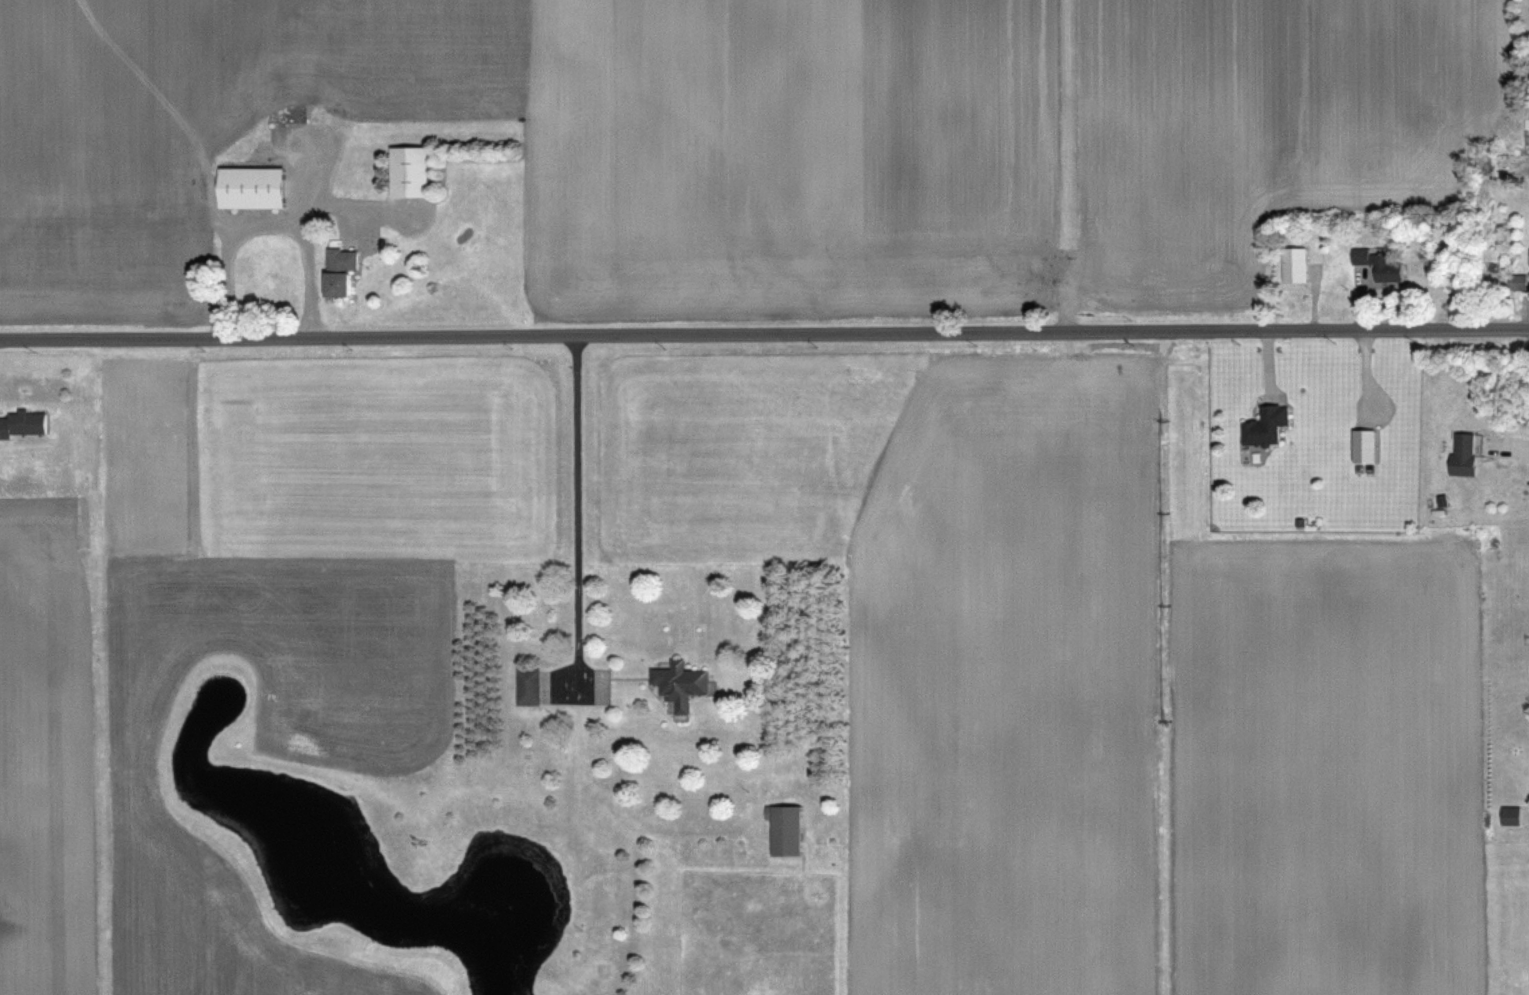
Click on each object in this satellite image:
building: (1527, 135)
building: (409, 171)
building: (252, 187)
road: (272, 215)
building: (342, 259)
building: (1295, 264)
building: (1378, 264)
building: (338, 284)
building: (1518, 284)
road: (764, 329)
building: (23, 423)
building: (1266, 425)
road: (1512, 442)
building: (1364, 446)
building: (1465, 454)
road: (580, 505)
building: (680, 683)
building: (528, 684)
building: (1511, 815)
building: (787, 830)

